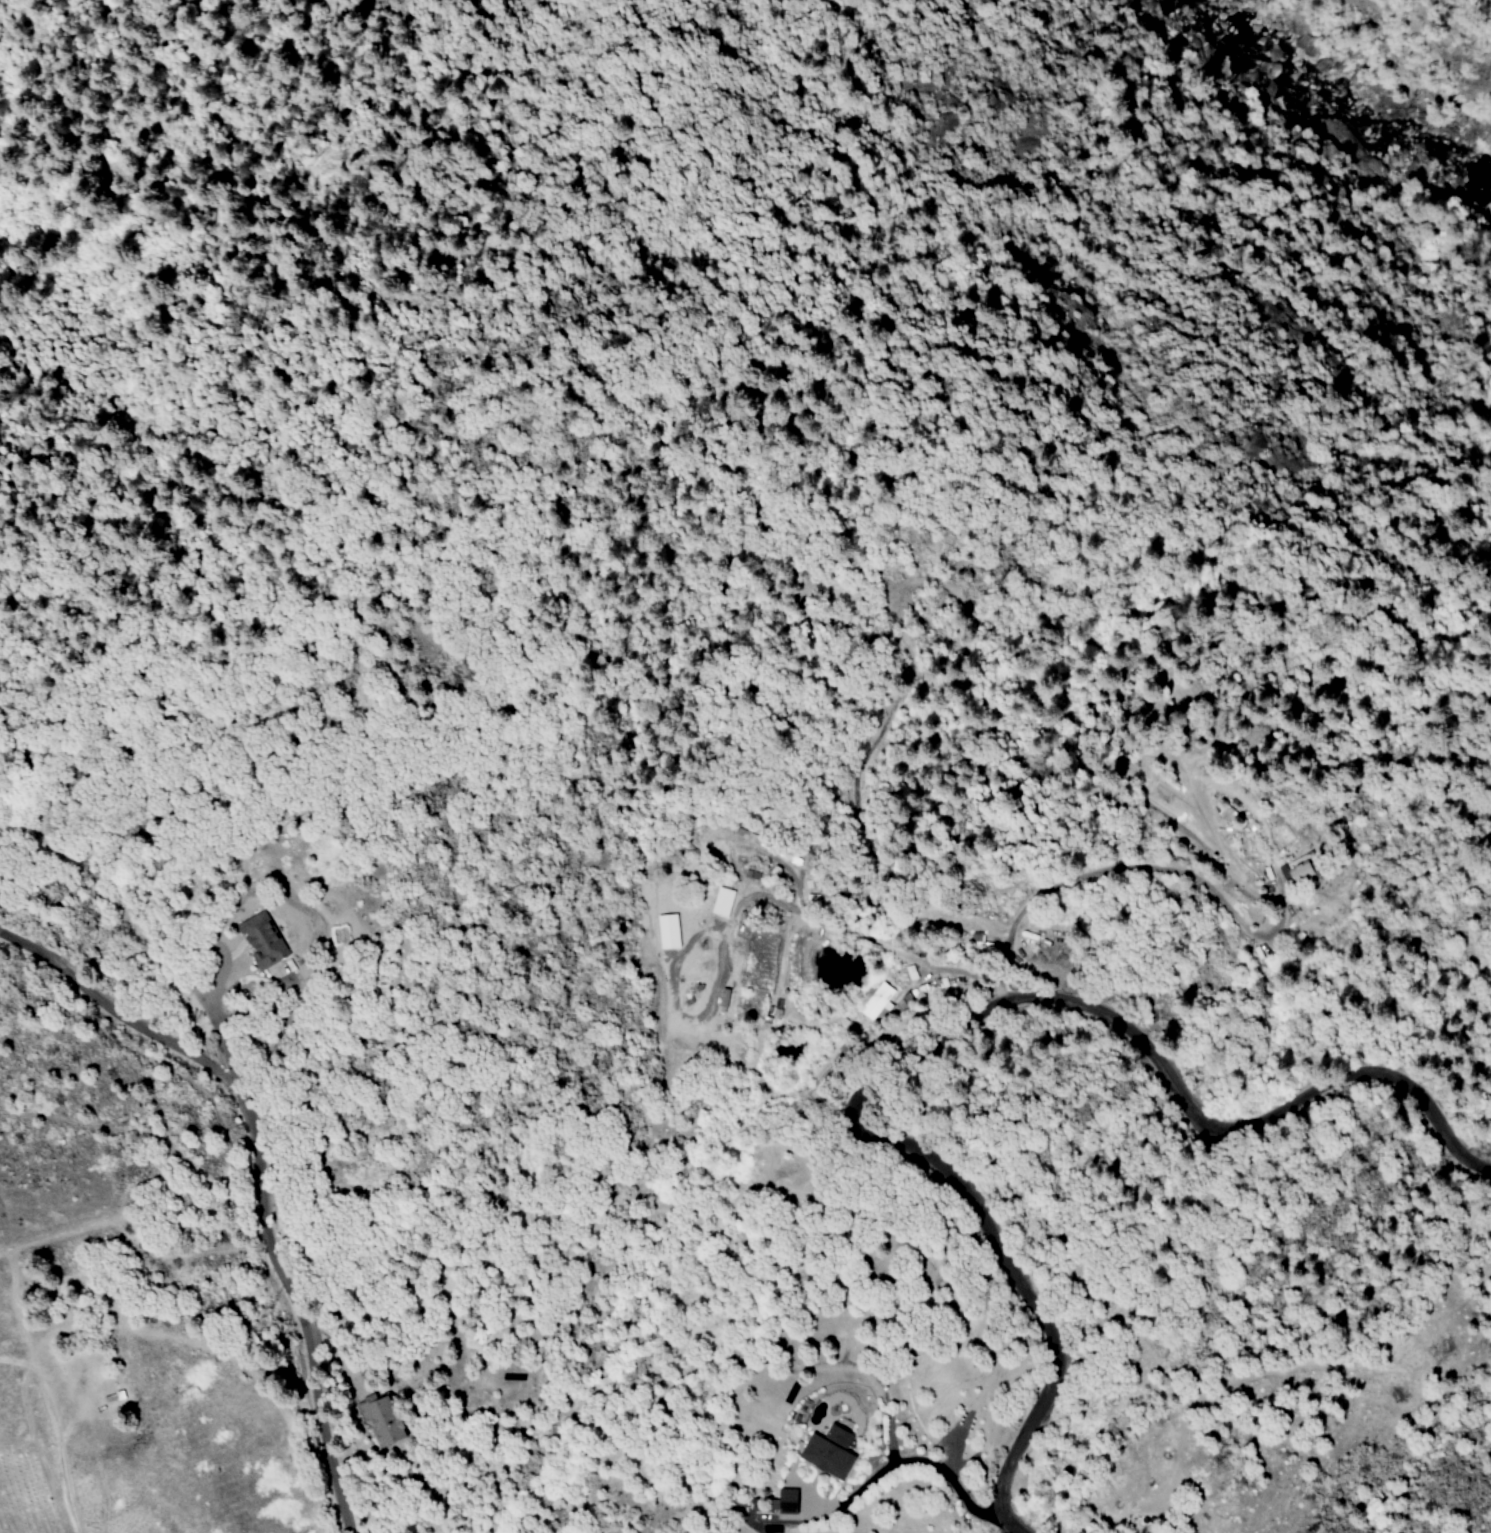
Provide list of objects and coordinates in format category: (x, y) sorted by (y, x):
river: (1363, 81)
road: (1127, 868)
building: (1295, 873)
building: (721, 902)
building: (262, 943)
building: (278, 970)
building: (876, 1002)
road: (944, 1032)
road: (224, 1047)
road: (254, 1176)
crop: (171, 1354)
building: (382, 1418)
building: (827, 1451)
road: (923, 1461)
crop: (162, 1484)
building: (786, 1501)

